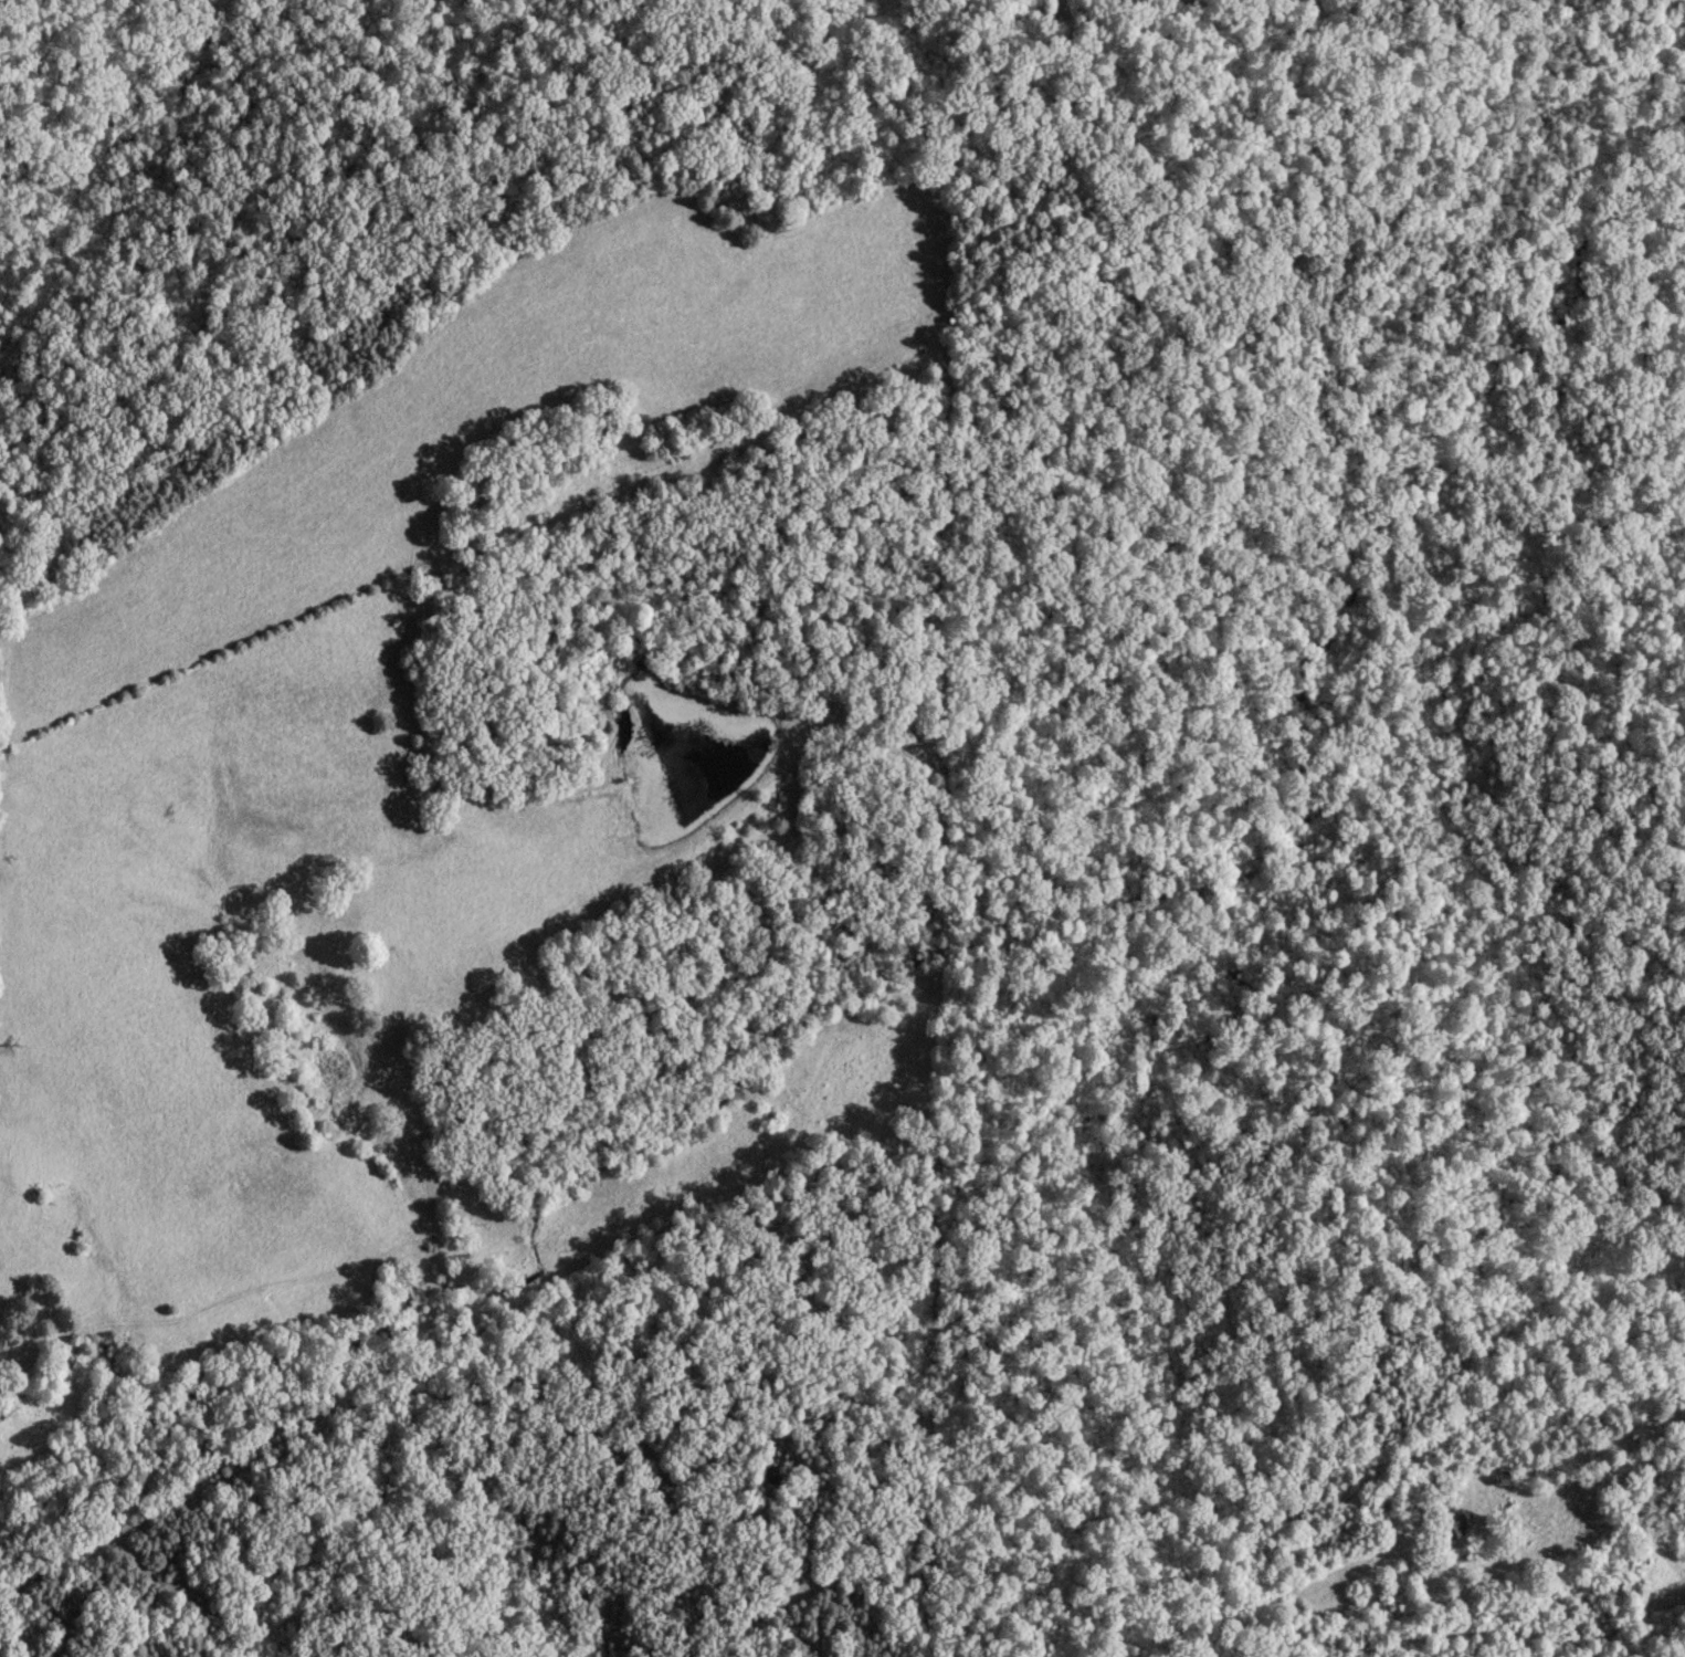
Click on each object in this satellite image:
road: (362, 1360)
road: (1623, 1521)
building: (1456, 1525)

